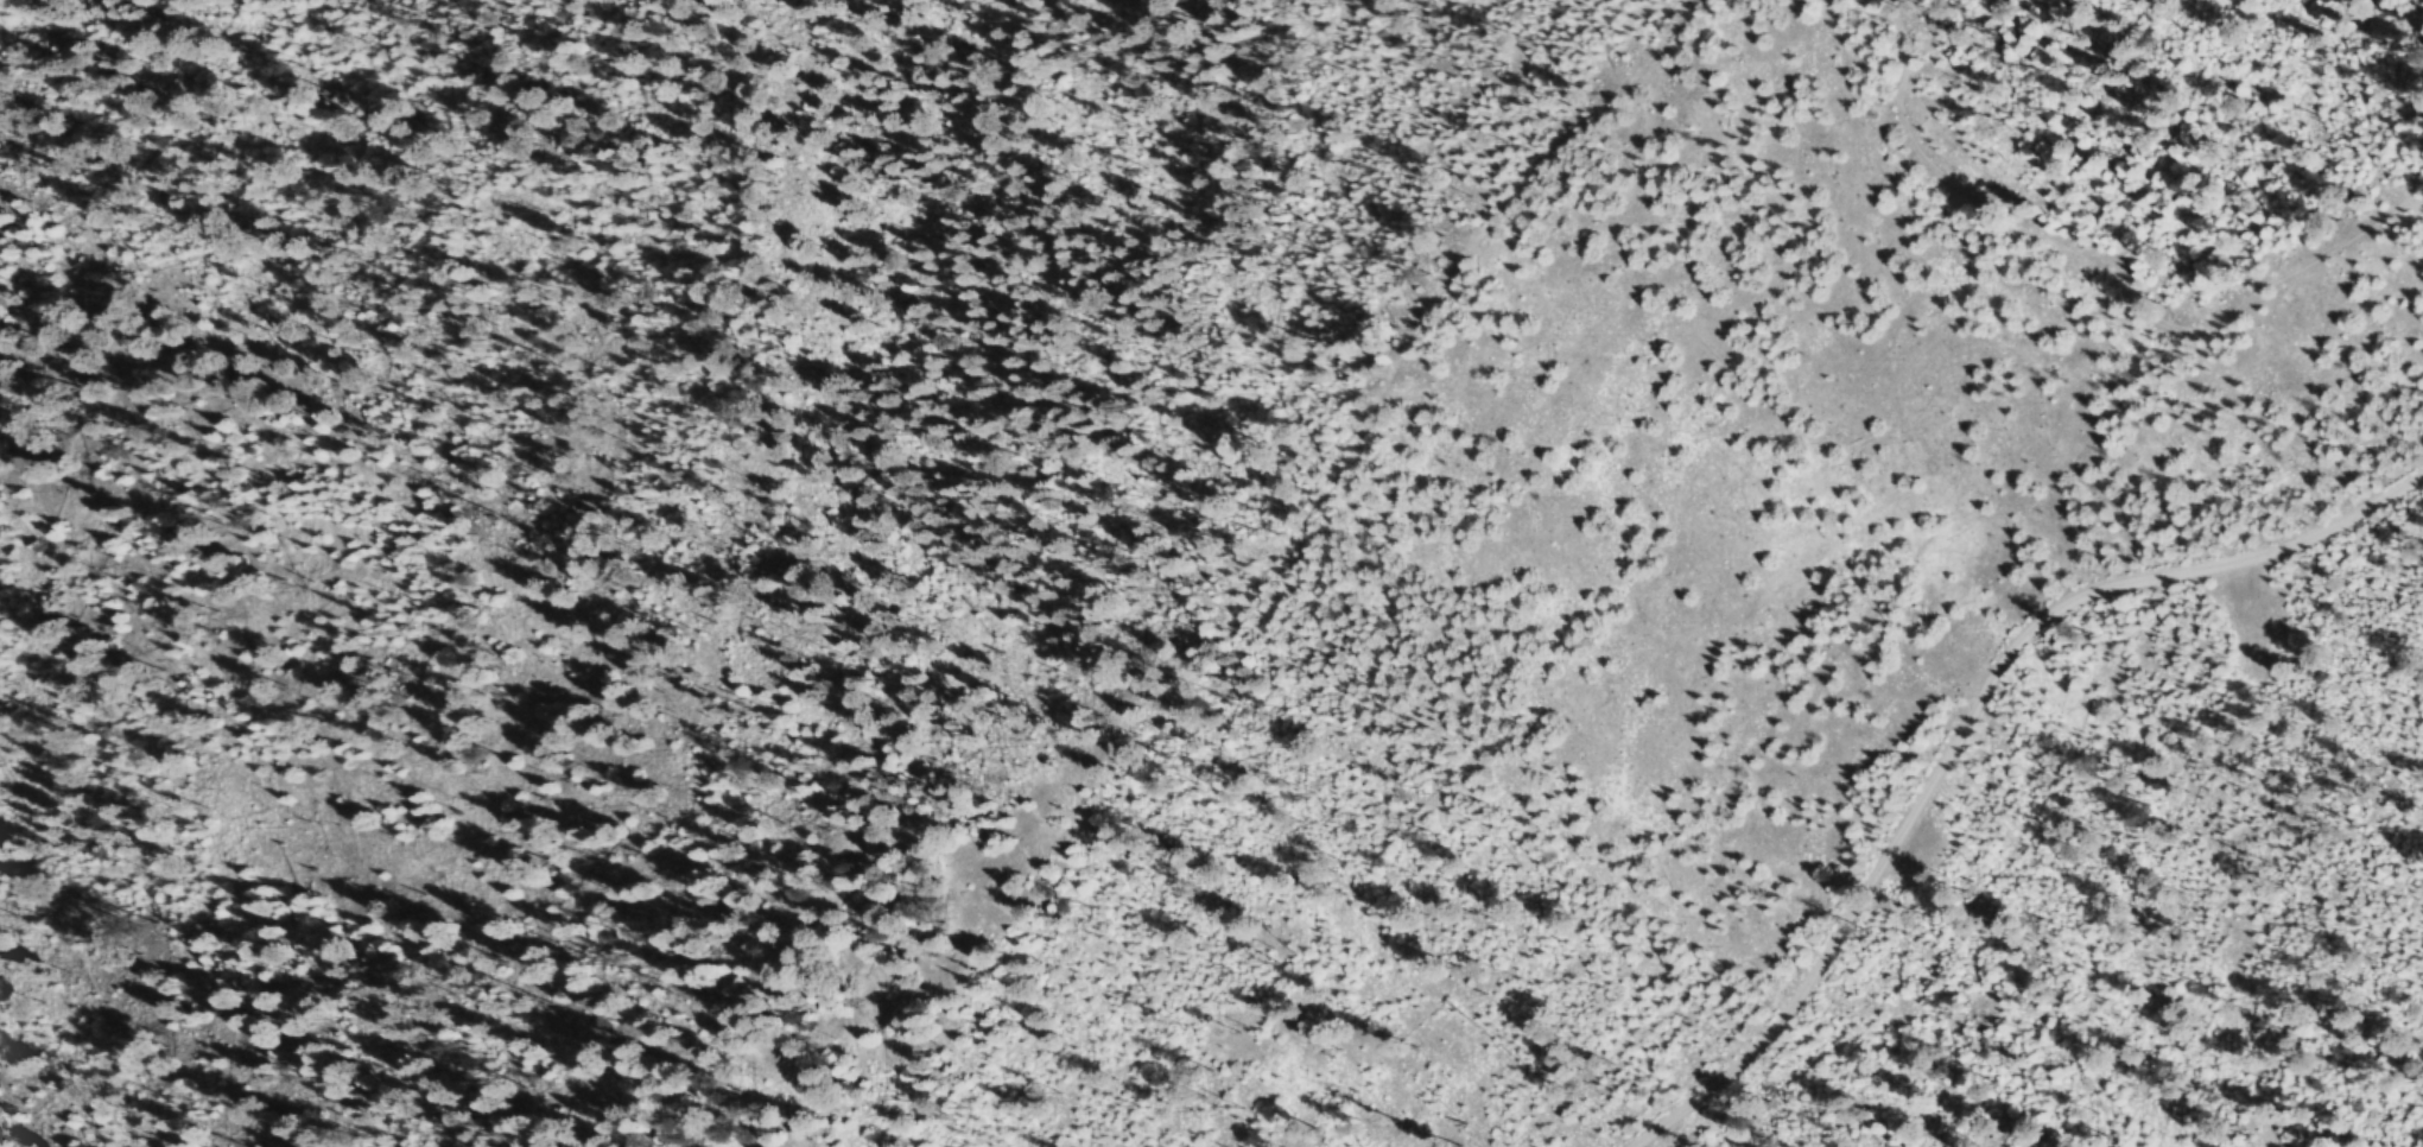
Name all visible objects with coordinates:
road: (2069, 279)

